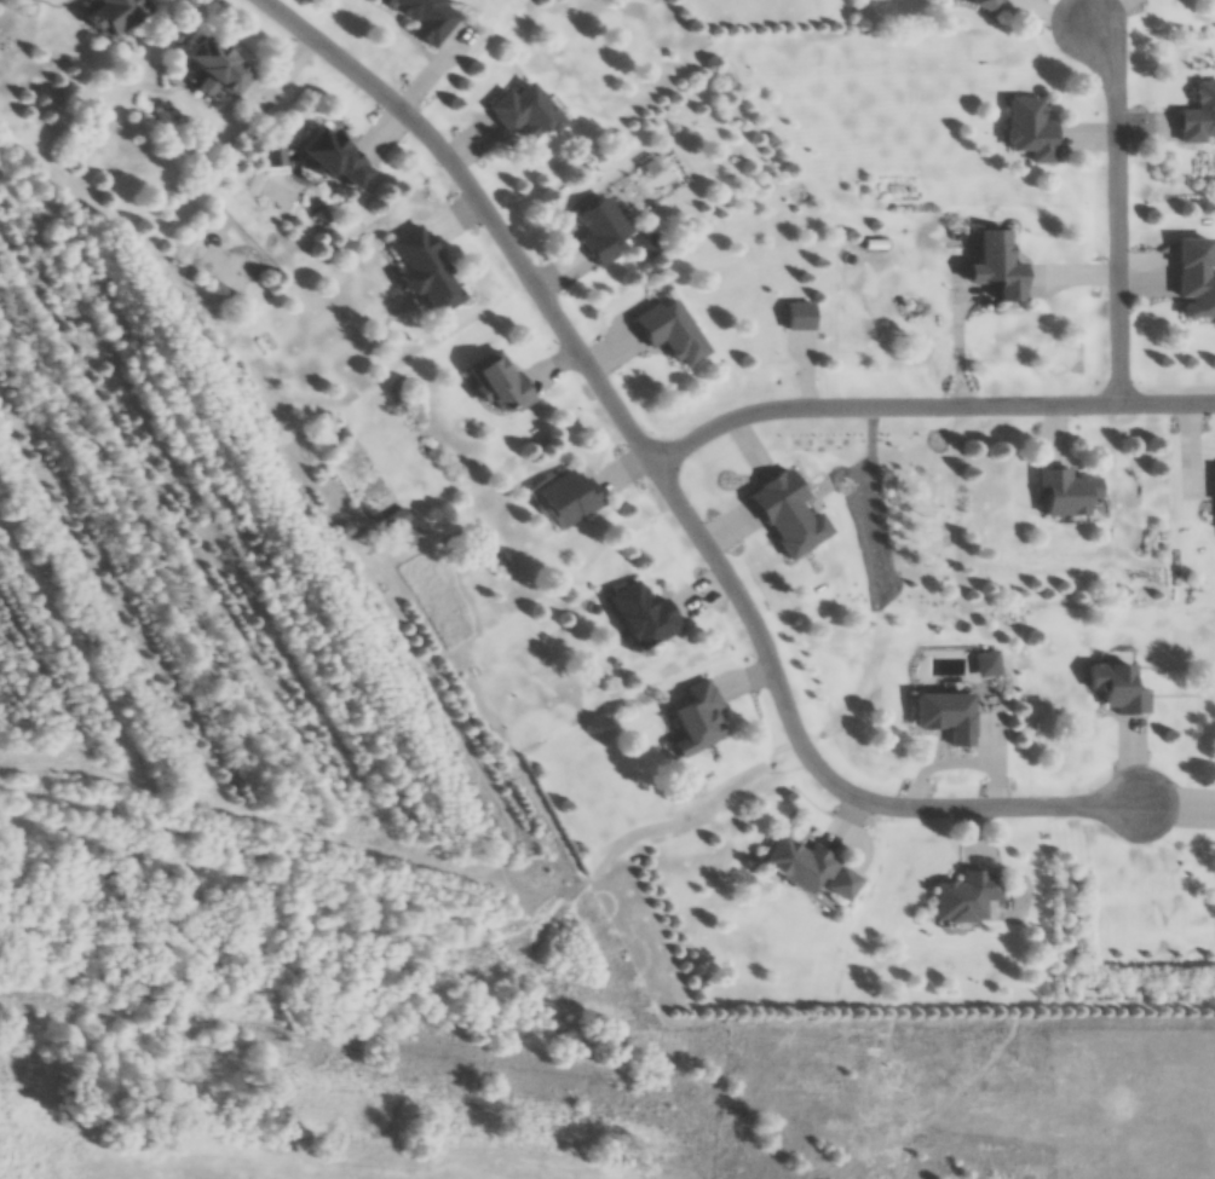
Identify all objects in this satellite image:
building: (981, 2)
building: (123, 13)
building: (426, 17)
building: (224, 65)
building: (530, 112)
building: (1197, 115)
building: (1026, 131)
building: (340, 160)
road: (1117, 212)
building: (605, 232)
building: (992, 266)
building: (226, 270)
building: (432, 271)
building: (1192, 279)
building: (804, 317)
building: (676, 331)
building: (507, 382)
road: (928, 410)
building: (1211, 485)
road: (673, 495)
building: (1058, 495)
building: (575, 498)
building: (795, 514)
building: (401, 520)
building: (411, 537)
building: (647, 615)
building: (985, 665)
building: (1113, 690)
building: (942, 717)
building: (702, 721)
building: (814, 871)
building: (960, 897)

